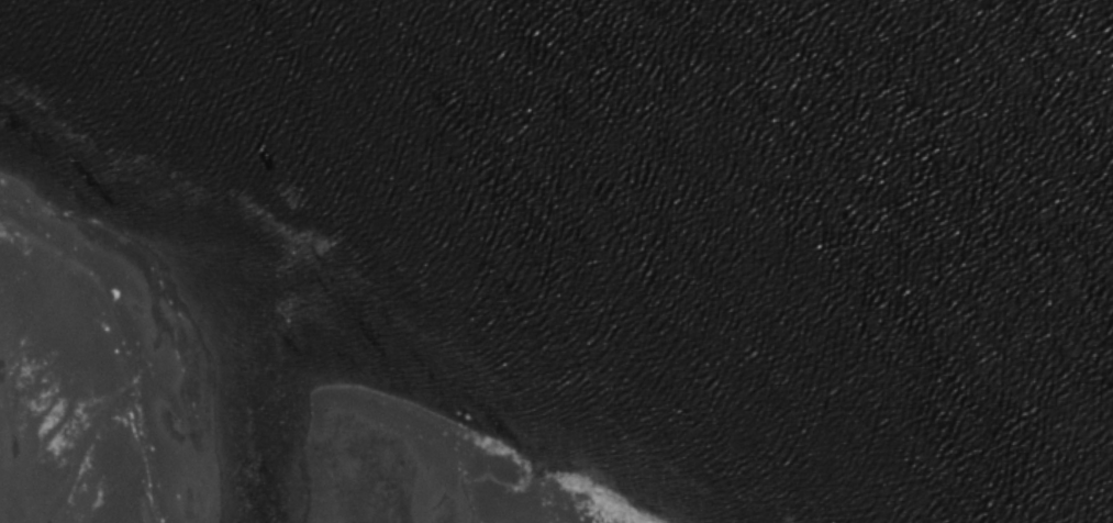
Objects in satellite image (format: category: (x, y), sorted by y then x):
river: (1021, 56)

